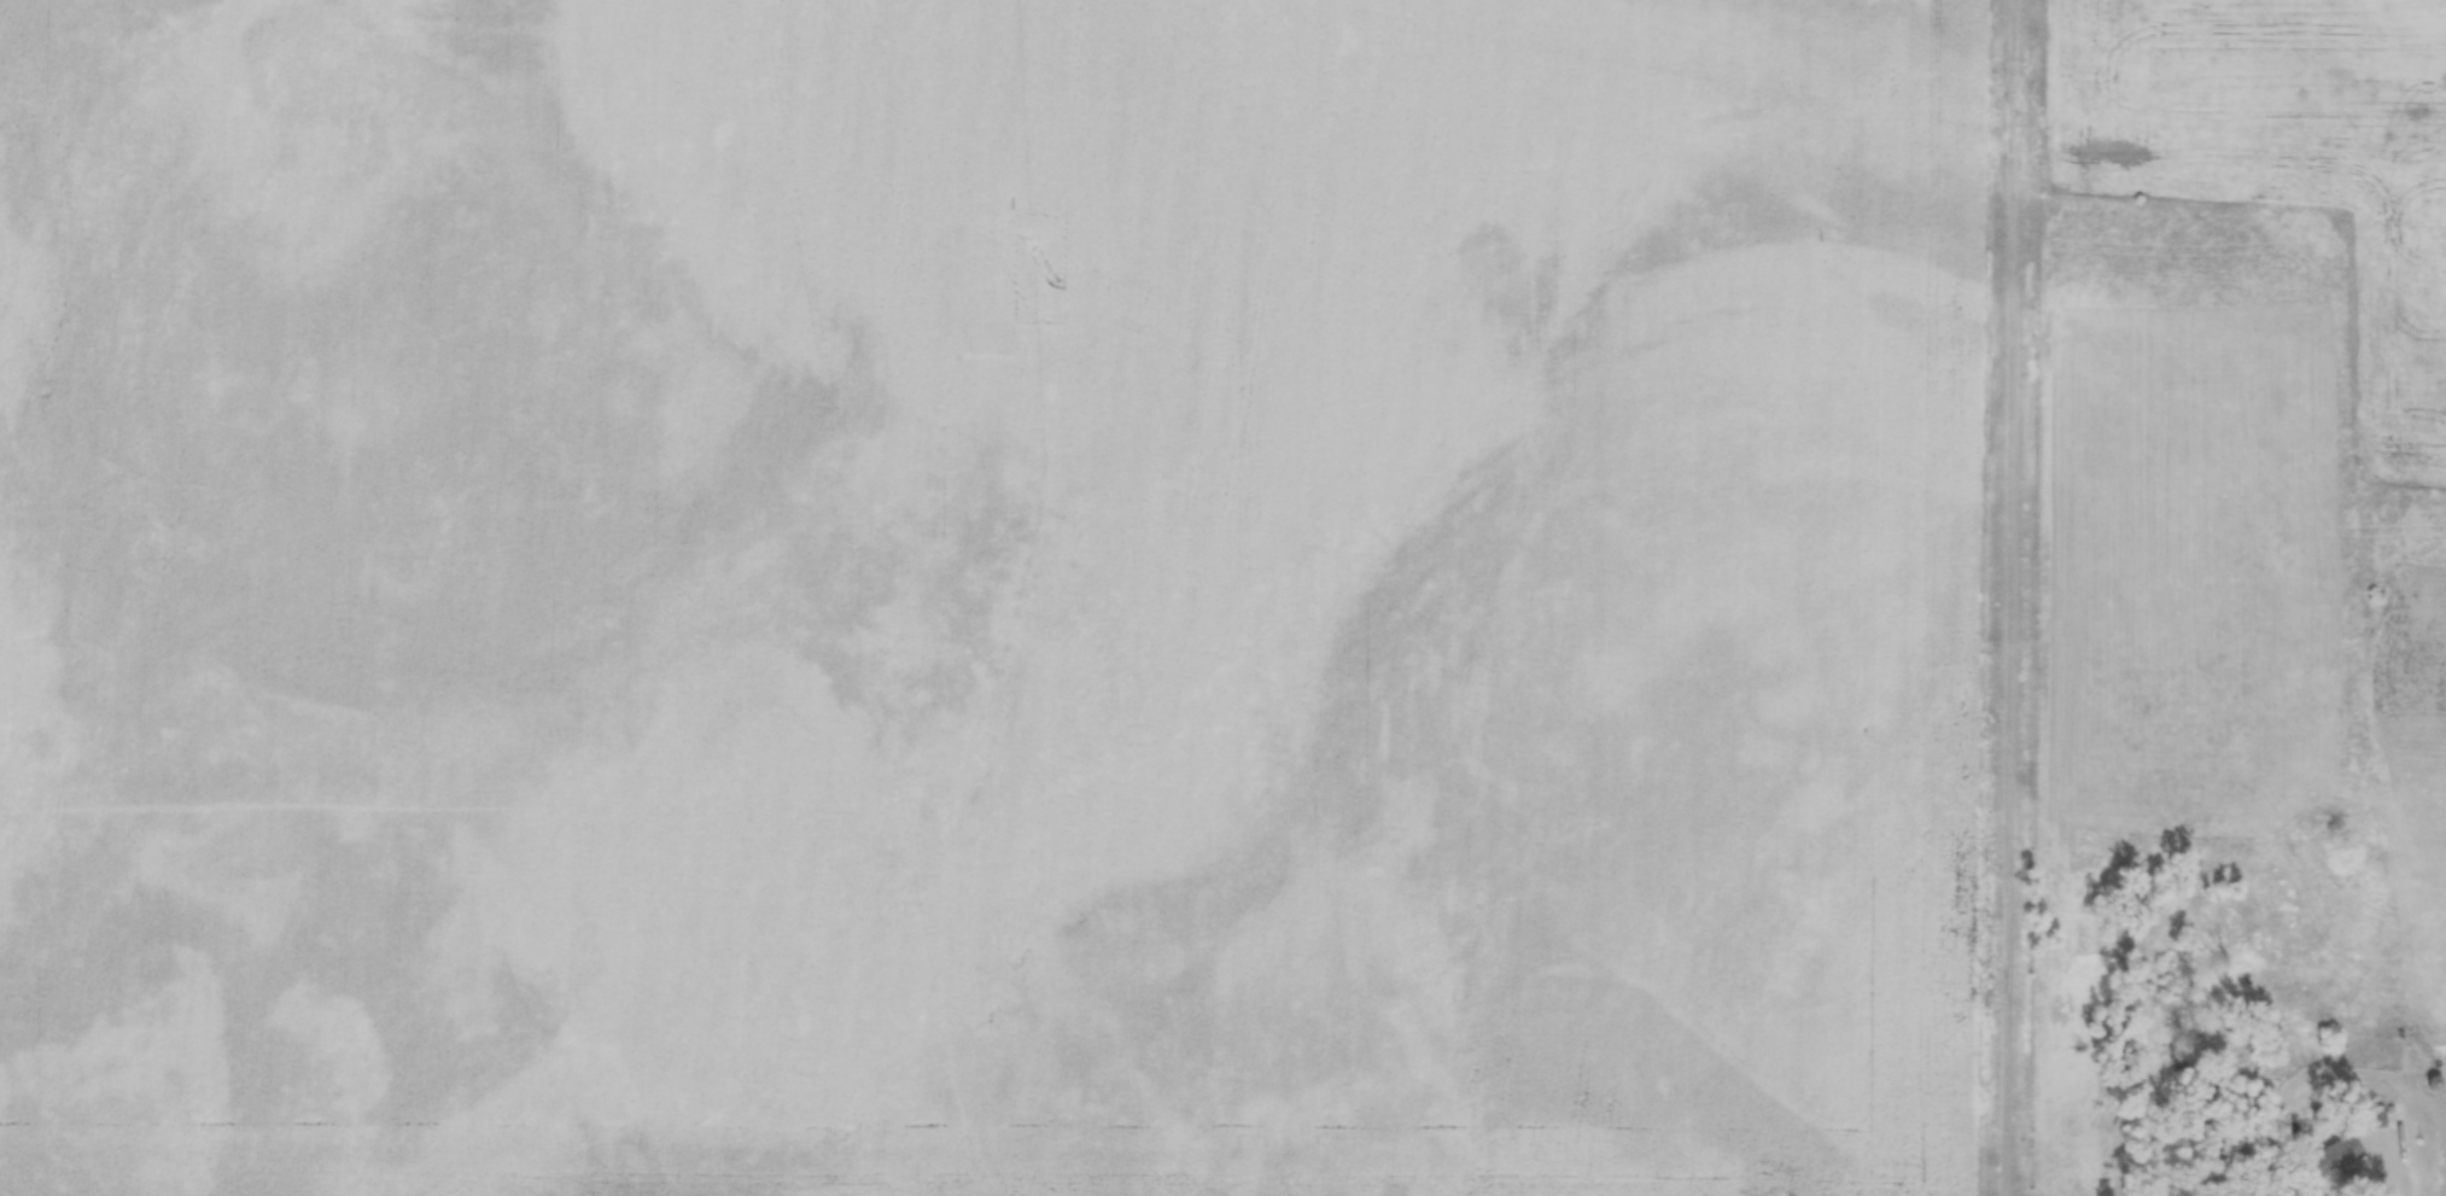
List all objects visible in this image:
building: (2339, 1156)

